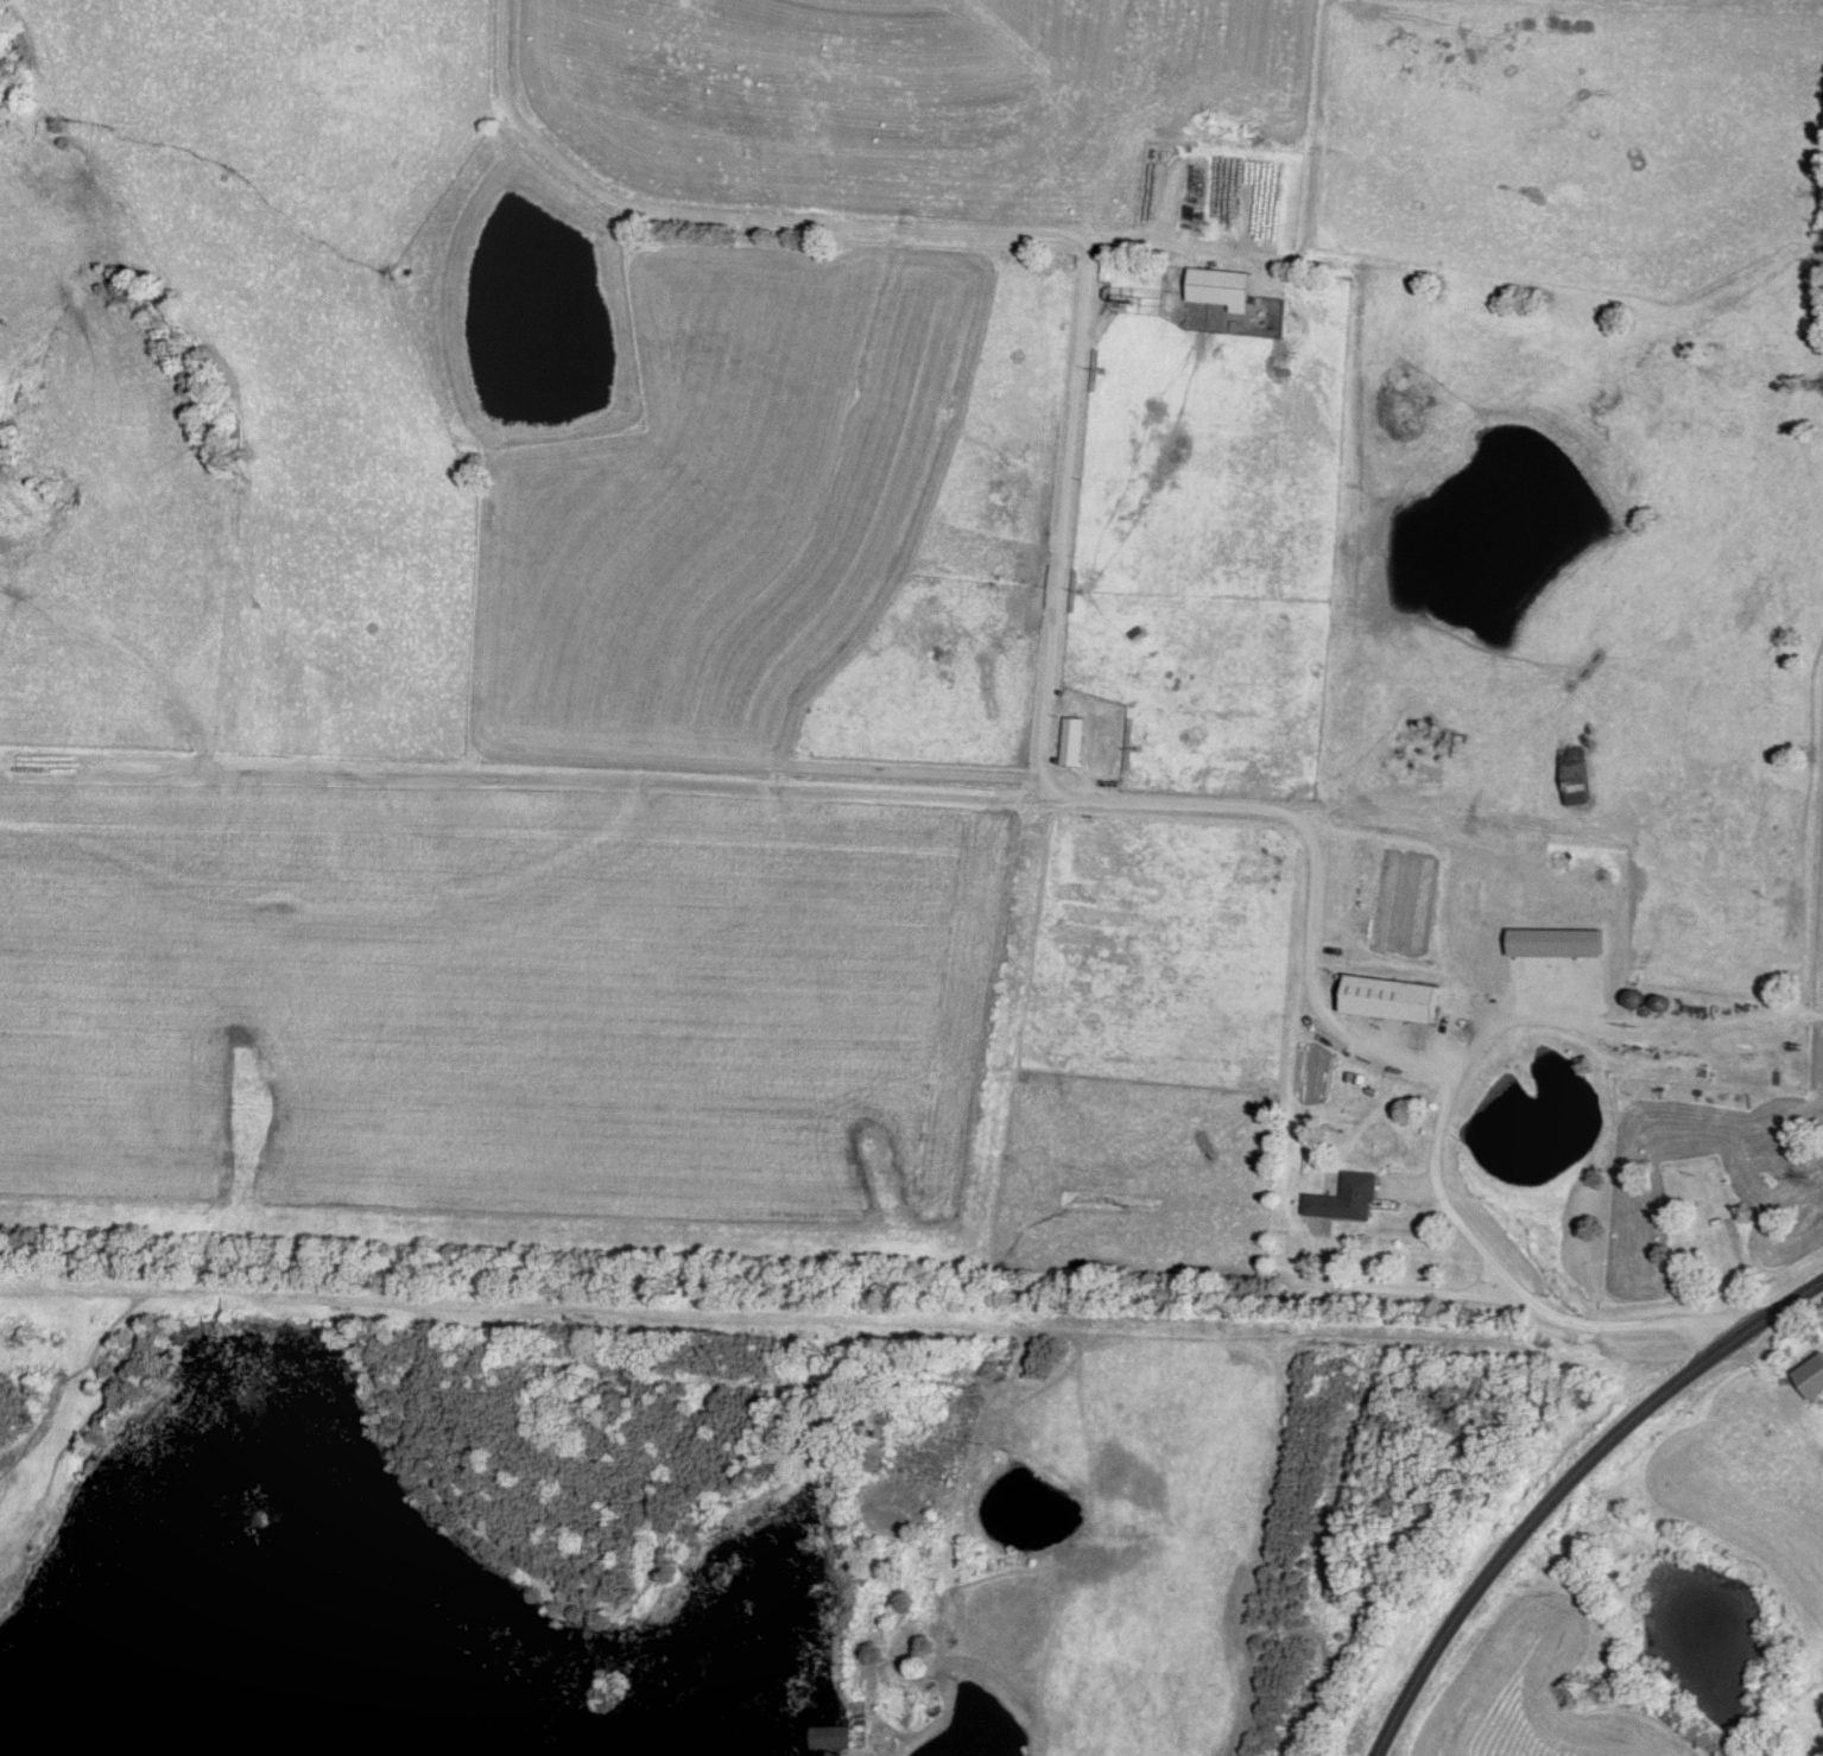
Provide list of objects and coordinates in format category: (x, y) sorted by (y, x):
building: (1195, 191)
road: (1170, 245)
road: (1348, 538)
road: (1051, 573)
building: (1070, 742)
building: (1575, 776)
road: (1441, 812)
building: (1470, 901)
building: (1602, 976)
building: (1390, 1000)
road: (1525, 1007)
building: (1350, 1198)
building: (1705, 1235)
road: (868, 1313)
road: (1572, 1490)
building: (828, 1737)

